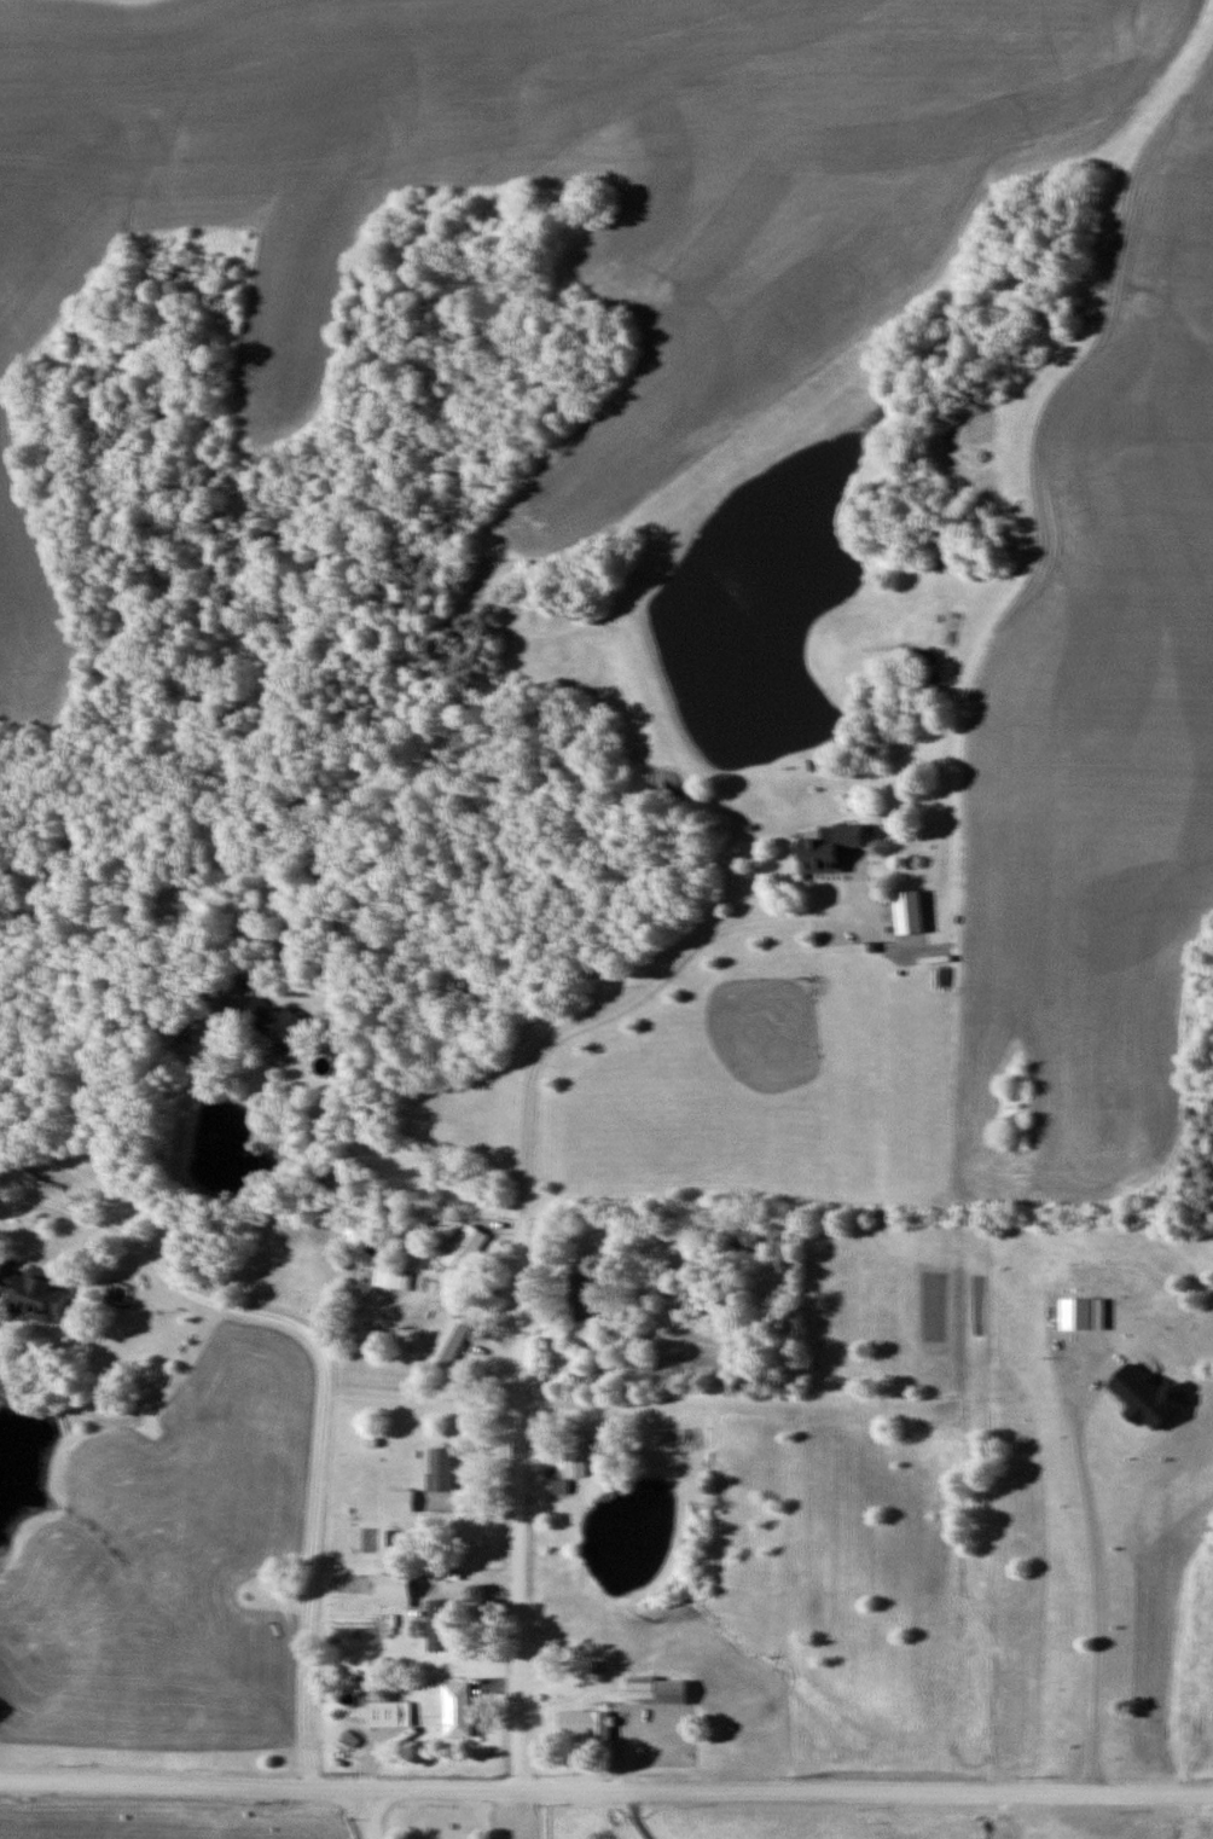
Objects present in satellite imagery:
building: (829, 848)
building: (263, 969)
building: (284, 1026)
road: (175, 1187)
building: (466, 1249)
building: (396, 1281)
building: (33, 1292)
building: (582, 1296)
building: (451, 1344)
building: (629, 1358)
road: (329, 1385)
road: (509, 1415)
road: (613, 1432)
building: (576, 1454)
building: (441, 1468)
building: (399, 1499)
road: (1093, 1557)
building: (394, 1590)
building: (441, 1624)
building: (656, 1692)
building: (457, 1710)
building: (383, 1715)
building: (585, 1725)
road: (605, 1789)
road: (368, 1815)

